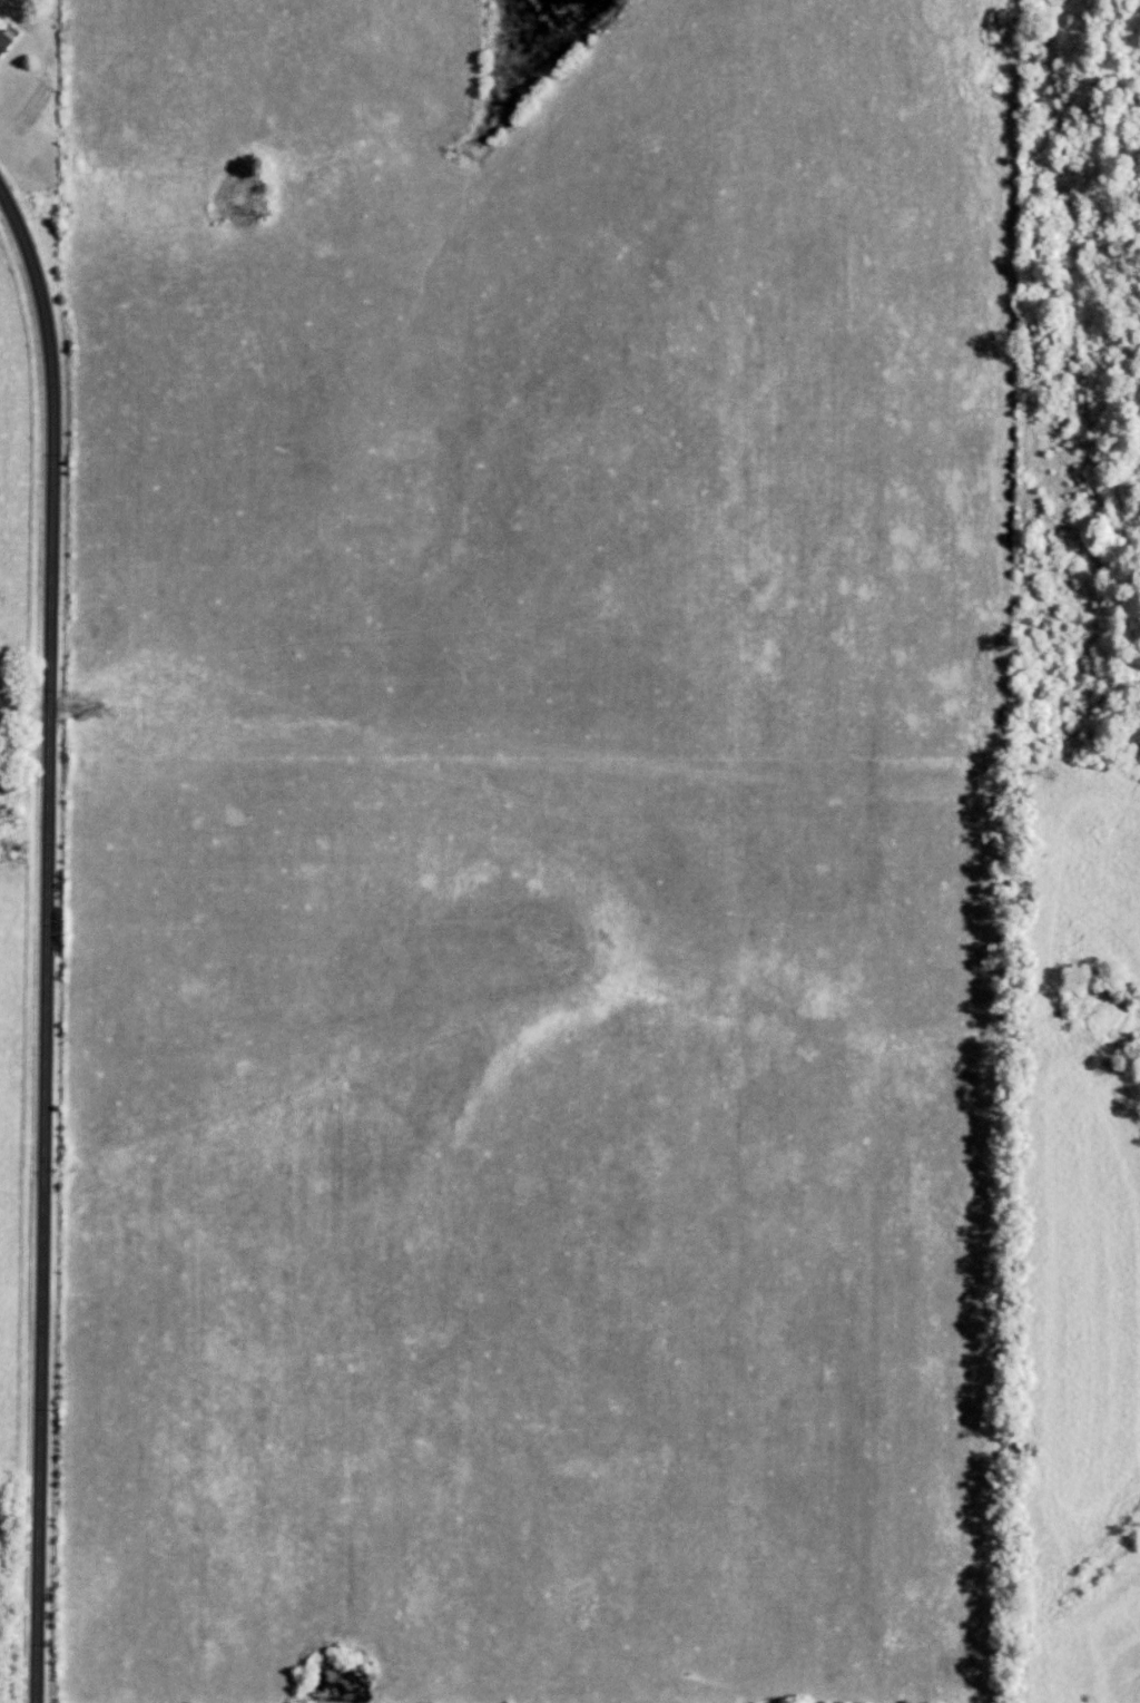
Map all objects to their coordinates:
building: (7, 39)
road: (24, 713)
road: (46, 938)

